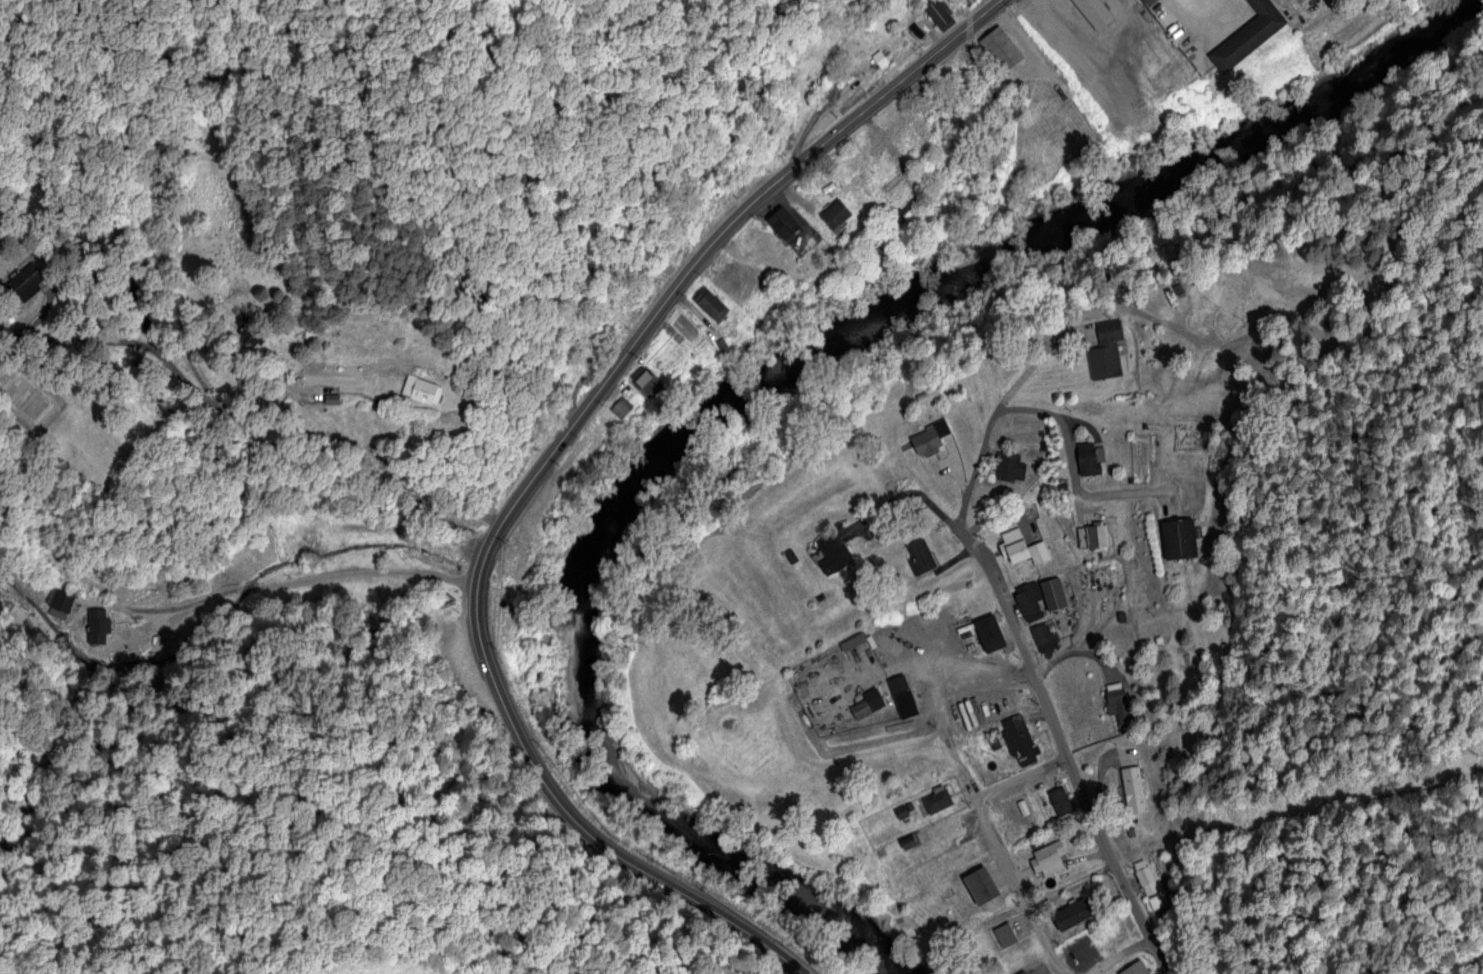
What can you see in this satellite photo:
building: (1094, 12)
building: (938, 14)
building: (1247, 35)
building: (1001, 47)
building: (879, 58)
building: (1164, 71)
building: (834, 213)
building: (783, 224)
road: (701, 257)
building: (25, 281)
building: (710, 304)
building: (1105, 350)
building: (645, 381)
building: (421, 389)
building: (621, 406)
road: (239, 424)
building: (929, 437)
building: (1089, 458)
building: (1009, 465)
road: (1071, 475)
road: (901, 493)
building: (1093, 536)
building: (1178, 538)
building: (1021, 547)
building: (833, 554)
building: (919, 555)
road: (995, 589)
road: (314, 590)
building: (1052, 593)
building: (1029, 600)
building: (60, 603)
building: (97, 625)
building: (989, 632)
building: (1043, 636)
building: (852, 641)
road: (1070, 654)
building: (901, 695)
building: (867, 703)
building: (1120, 707)
building: (1020, 741)
building: (1131, 791)
building: (937, 802)
building: (1061, 802)
building: (902, 815)
road: (579, 817)
building: (959, 840)
road: (993, 842)
building: (908, 843)
building: (1048, 859)
building: (1144, 877)
building: (983, 884)
building: (1155, 901)
building: (1072, 911)
building: (1006, 937)
road: (1119, 960)
building: (1135, 969)
building: (1023, 973)

